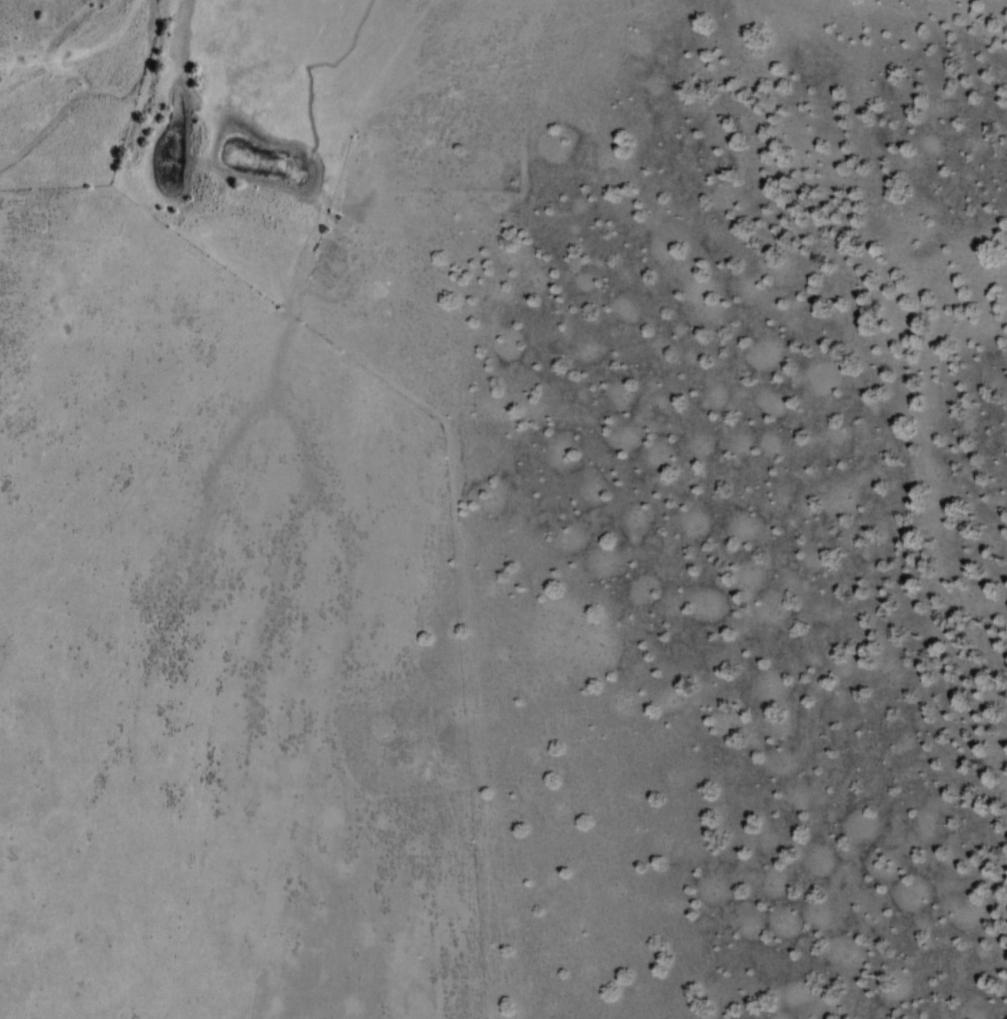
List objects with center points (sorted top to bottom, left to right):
road: (48, 60)
road: (86, 60)

